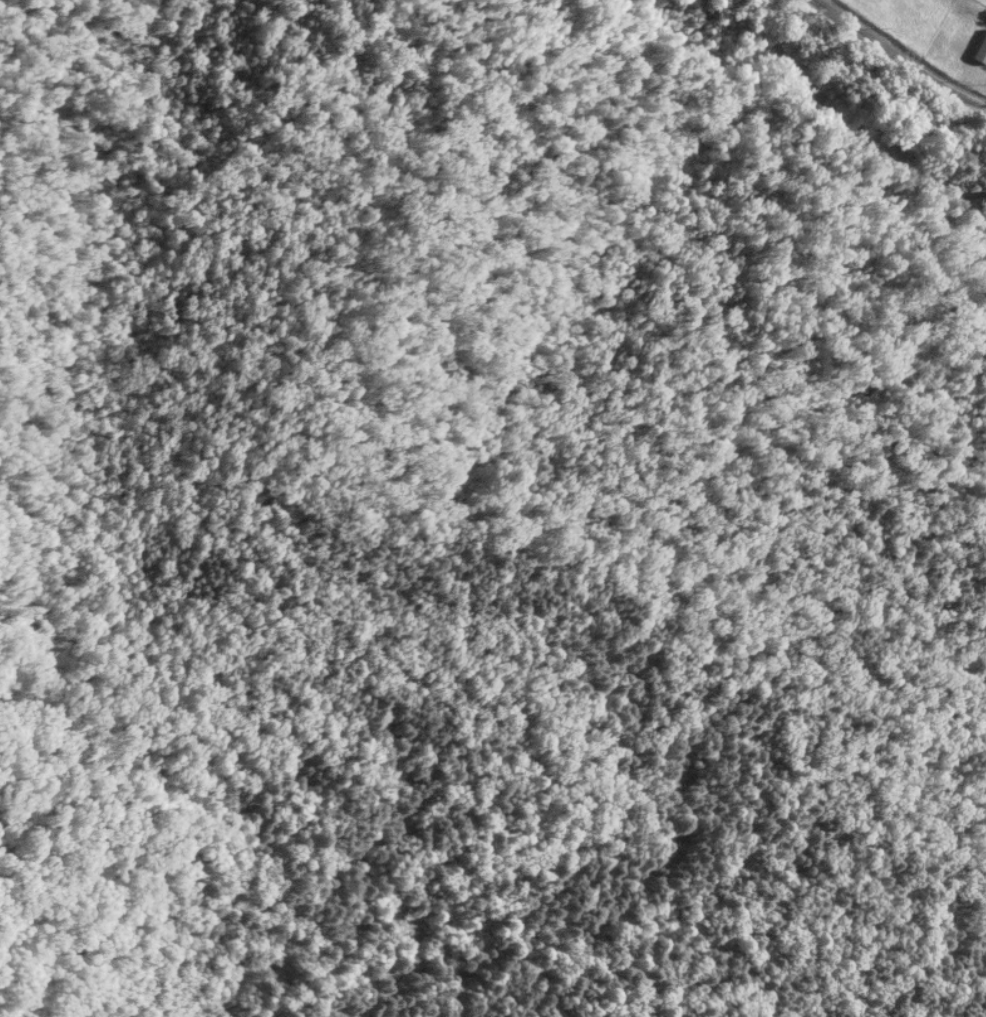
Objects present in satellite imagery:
road: (903, 55)

